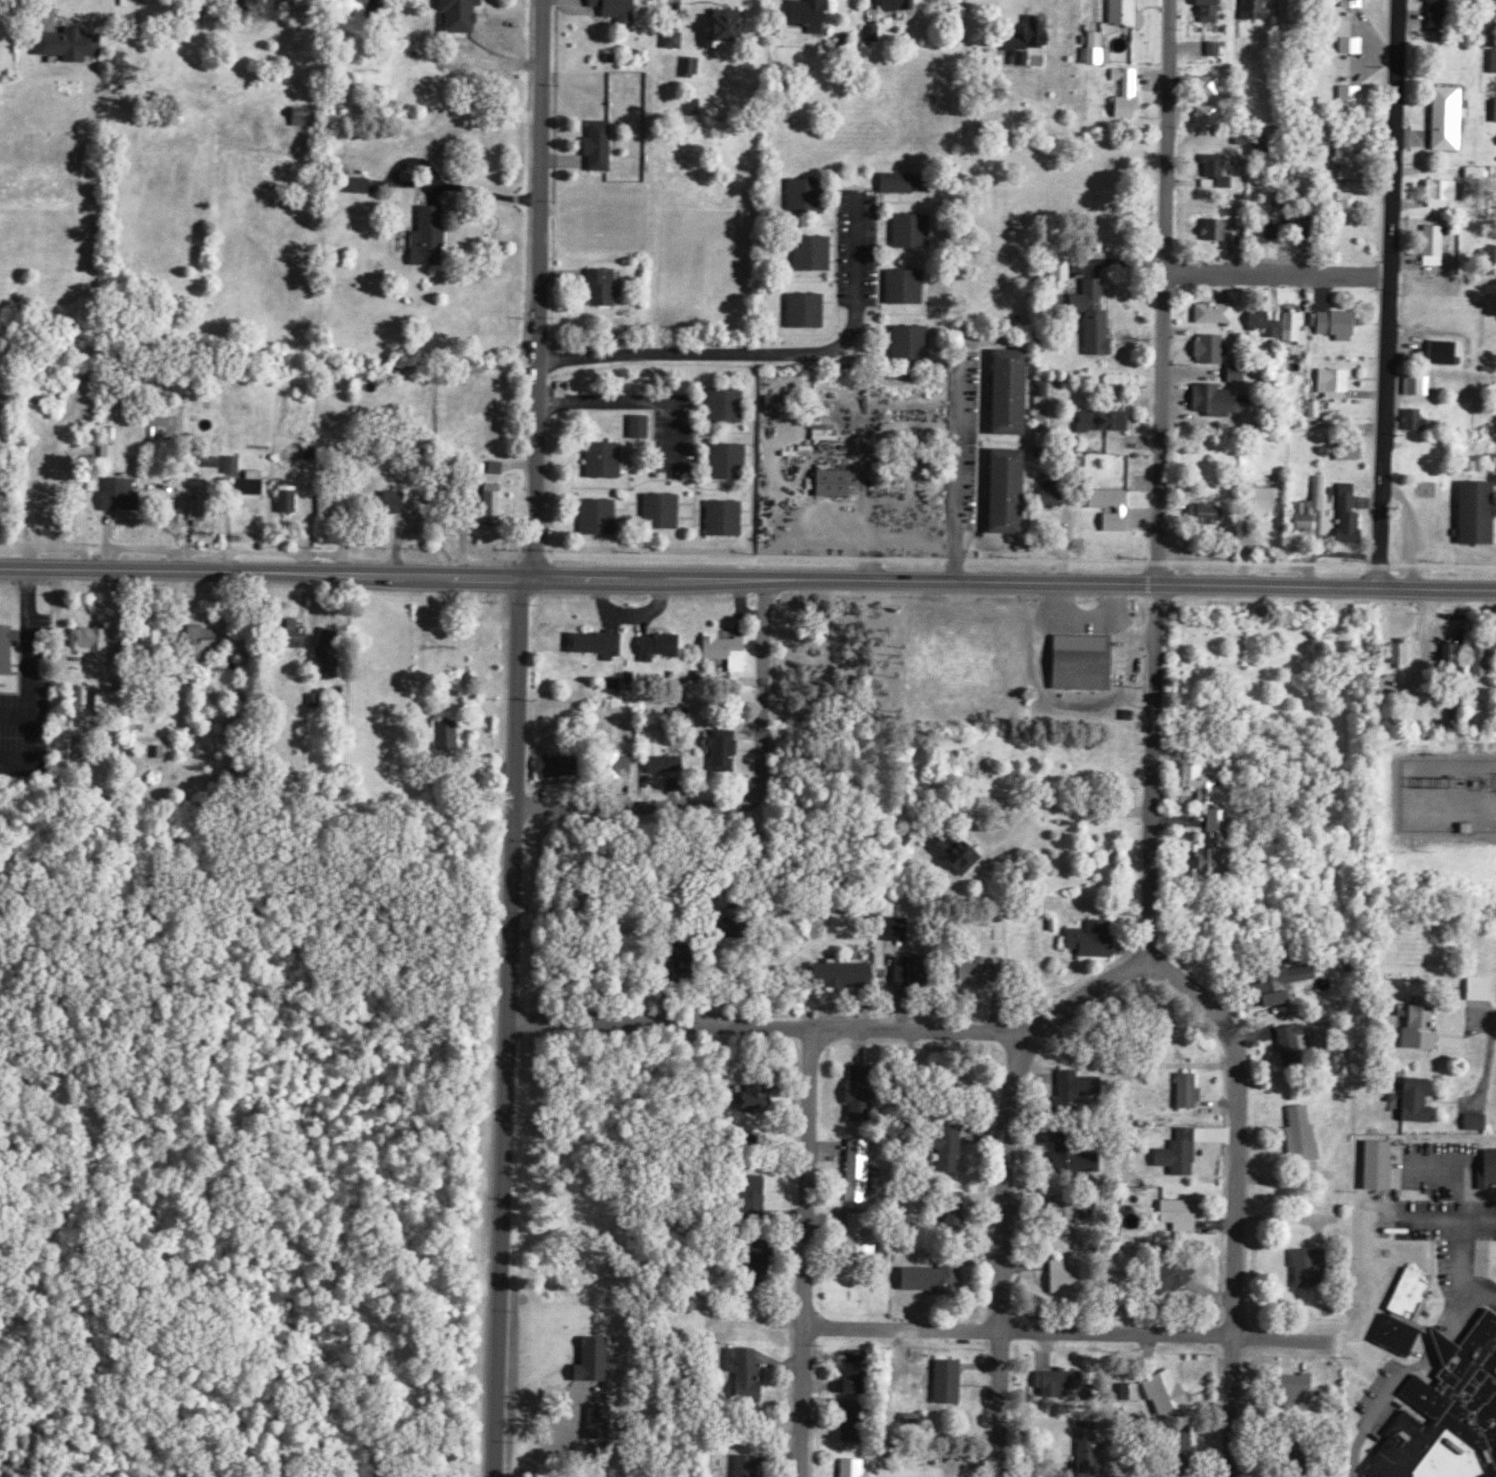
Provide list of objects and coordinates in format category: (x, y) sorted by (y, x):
building: (1472, 0)
building: (258, 2)
building: (1353, 2)
building: (1494, 3)
building: (902, 5)
building: (621, 7)
building: (1210, 9)
building: (1256, 9)
building: (1127, 13)
building: (466, 14)
building: (1437, 14)
building: (815, 15)
road: (46, 17)
road: (1093, 20)
building: (742, 31)
building: (1029, 40)
building: (1353, 44)
building: (78, 45)
building: (1099, 48)
building: (1217, 48)
road: (972, 59)
building: (1494, 60)
building: (1209, 84)
building: (1127, 92)
building: (1352, 92)
building: (1495, 111)
building: (1210, 114)
building: (307, 117)
building: (1447, 117)
building: (605, 146)
building: (1348, 156)
building: (1218, 171)
building: (1477, 171)
building: (365, 187)
building: (1445, 191)
building: (1349, 204)
building: (1216, 228)
building: (1268, 230)
building: (433, 237)
building: (1092, 244)
building: (1435, 244)
building: (821, 255)
building: (1061, 274)
road: (1277, 276)
road: (538, 286)
building: (909, 287)
road: (1387, 295)
building: (811, 311)
building: (1216, 311)
building: (1094, 315)
building: (1264, 320)
building: (1337, 323)
building: (1297, 328)
building: (919, 341)
building: (1211, 347)
road: (765, 352)
building: (1237, 372)
road: (1184, 375)
building: (1335, 381)
building: (1423, 384)
building: (1009, 391)
road: (636, 399)
building: (1220, 400)
building: (1316, 408)
building: (1414, 418)
building: (1105, 420)
building: (644, 427)
road: (1271, 428)
building: (1351, 451)
building: (114, 453)
building: (736, 456)
building: (608, 462)
building: (234, 465)
road: (957, 472)
road: (1157, 483)
building: (255, 484)
building: (841, 484)
building: (1007, 490)
building: (1052, 493)
building: (125, 496)
building: (293, 500)
building: (1264, 500)
building: (334, 505)
building: (1313, 505)
building: (1112, 506)
building: (666, 511)
building: (1204, 511)
building: (1478, 511)
building: (1350, 514)
building: (729, 519)
road: (866, 541)
road: (747, 576)
road: (110, 626)
building: (294, 629)
building: (202, 639)
building: (93, 640)
building: (598, 643)
building: (664, 647)
building: (334, 648)
building: (9, 649)
building: (731, 652)
building: (1401, 652)
road: (1423, 655)
building: (1453, 657)
building: (1483, 658)
building: (1083, 661)
building: (112, 702)
building: (451, 736)
building: (728, 751)
building: (1209, 755)
building: (1207, 784)
road: (1458, 789)
road: (744, 801)
road: (1172, 821)
building: (1213, 841)
building: (1092, 938)
building: (848, 974)
building: (1281, 982)
building: (1482, 987)
road: (764, 1024)
road: (506, 1025)
building: (1421, 1027)
building: (1294, 1039)
building: (1075, 1085)
building: (1189, 1090)
building: (1417, 1099)
building: (1476, 1120)
building: (1303, 1134)
building: (1180, 1152)
building: (1075, 1158)
building: (1378, 1163)
building: (1488, 1167)
road: (1004, 1184)
road: (1234, 1200)
building: (1070, 1211)
road: (1468, 1213)
road: (1454, 1219)
road: (804, 1253)
building: (1305, 1266)
building: (1065, 1276)
road: (1067, 1332)
building: (1059, 1380)
building: (953, 1382)
building: (1294, 1385)
building: (1130, 1390)
building: (1167, 1390)
building: (1435, 1396)
road: (1369, 1421)
building: (1181, 1437)
building: (1088, 1446)
building: (856, 1468)

